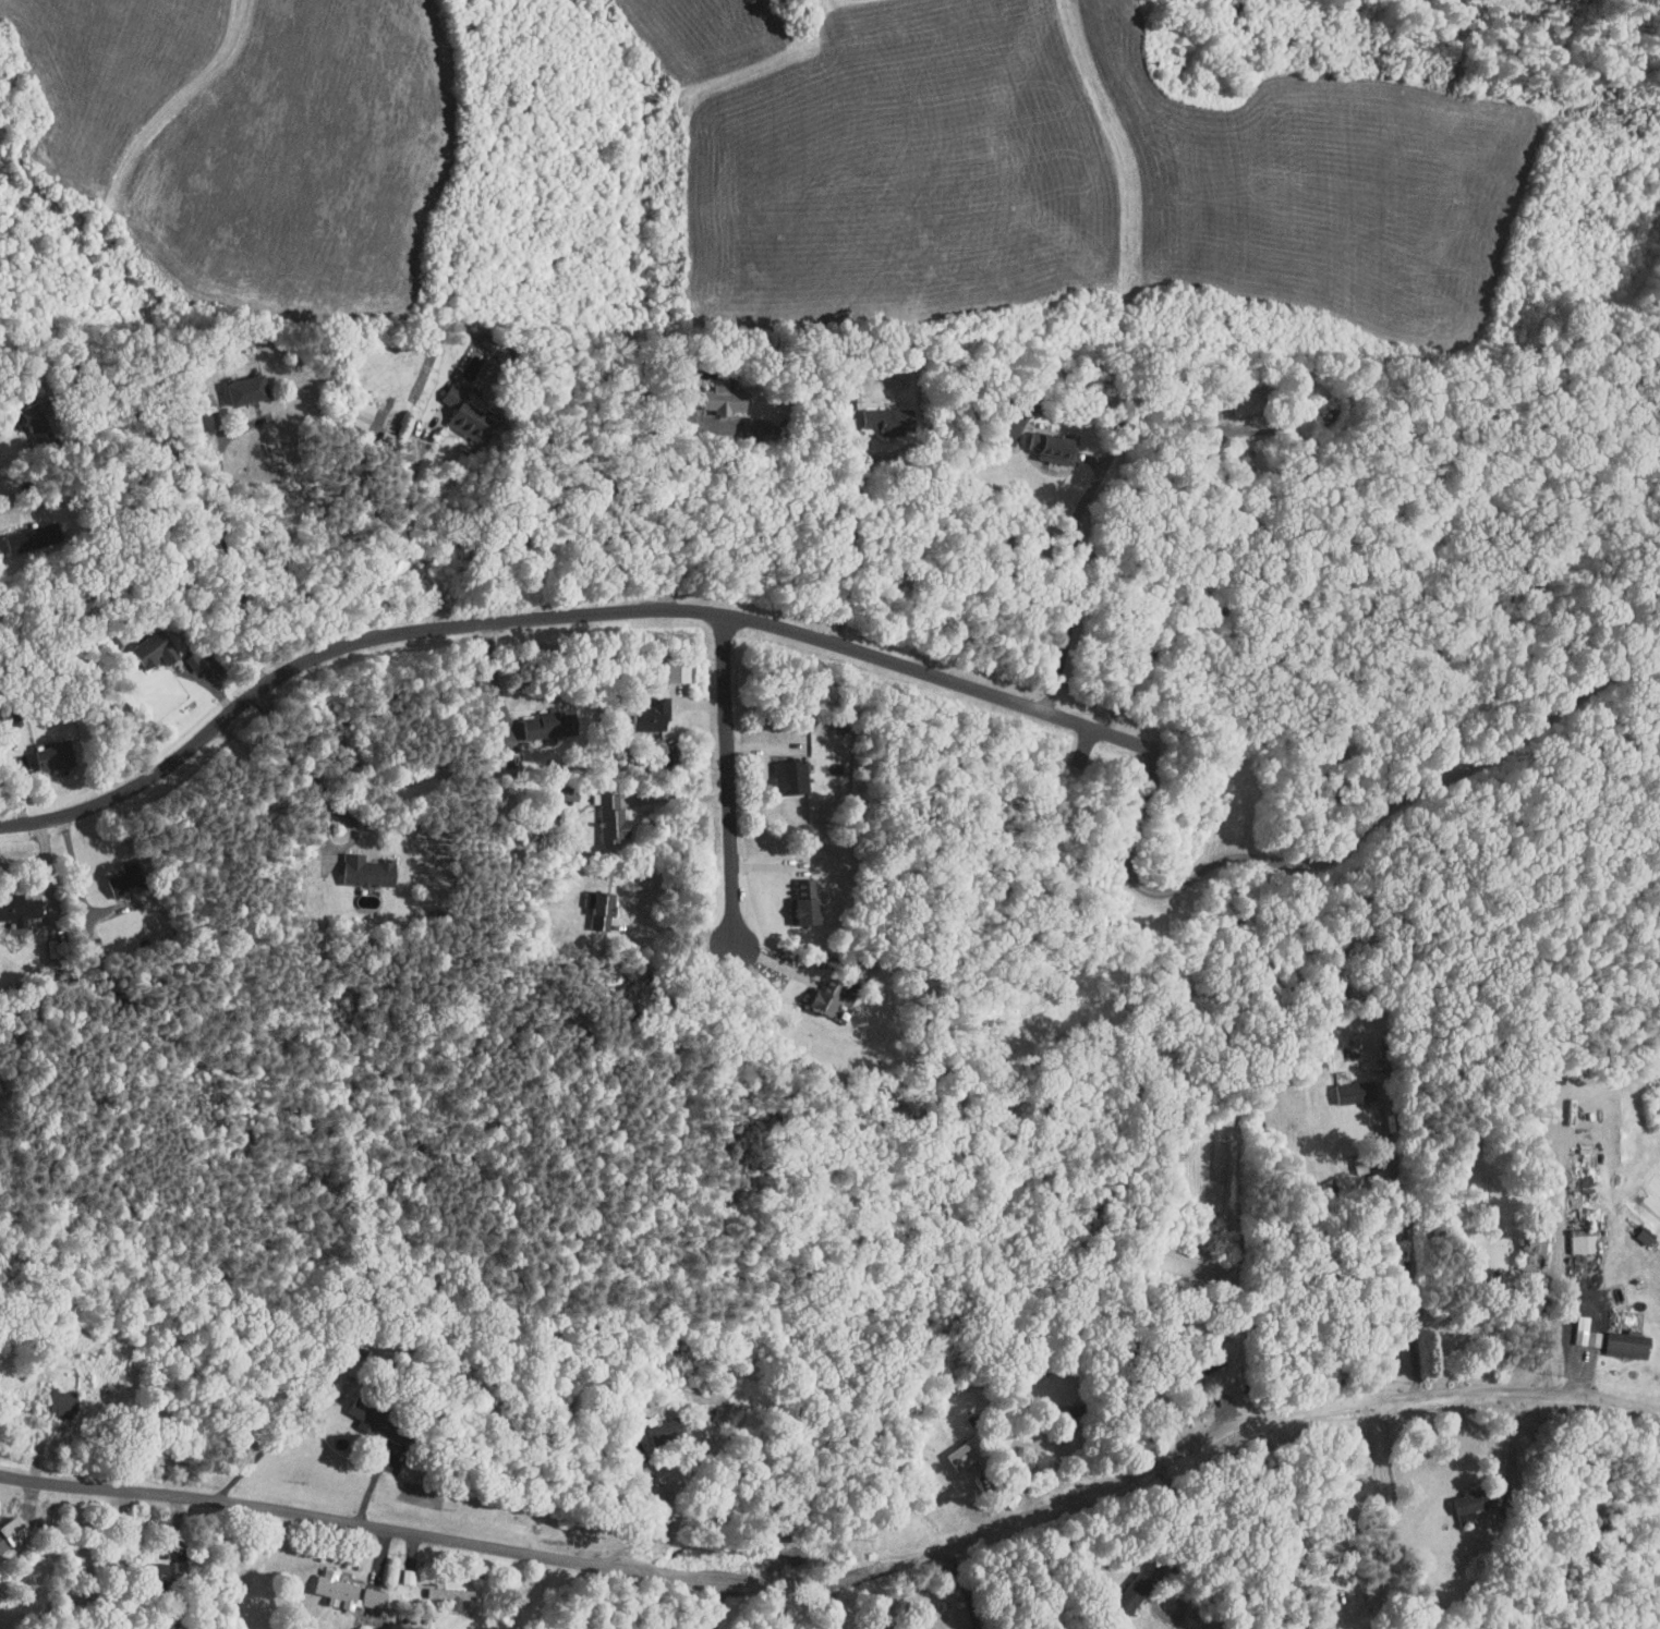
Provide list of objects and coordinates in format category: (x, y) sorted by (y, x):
building: (239, 381)
building: (715, 390)
building: (355, 408)
building: (880, 413)
building: (31, 414)
building: (1043, 439)
road: (1116, 449)
road: (738, 503)
building: (24, 530)
road: (845, 534)
road: (402, 539)
road: (237, 557)
road: (1265, 578)
road: (1074, 594)
road: (558, 615)
building: (145, 642)
road: (1062, 659)
road: (497, 678)
building: (646, 709)
building: (533, 718)
building: (45, 749)
building: (783, 769)
road: (677, 797)
road: (326, 798)
building: (603, 811)
road: (729, 830)
road: (1345, 848)
building: (359, 863)
building: (120, 871)
road: (80, 880)
building: (800, 896)
building: (595, 901)
building: (15, 902)
road: (668, 926)
building: (821, 990)
building: (1357, 1092)
building: (1647, 1235)
building: (1583, 1241)
road: (1407, 1256)
road: (1543, 1330)
building: (1589, 1337)
building: (1628, 1342)
building: (358, 1410)
road: (1513, 1448)
building: (957, 1451)
road: (259, 1455)
building: (1471, 1506)
road: (1388, 1508)
building: (8, 1524)
road: (663, 1525)
road: (1164, 1567)
road: (841, 1577)
building: (1324, 1581)
building: (328, 1582)
road: (965, 1587)
building: (443, 1588)
building: (364, 1591)
road: (833, 1604)
building: (1212, 1627)

